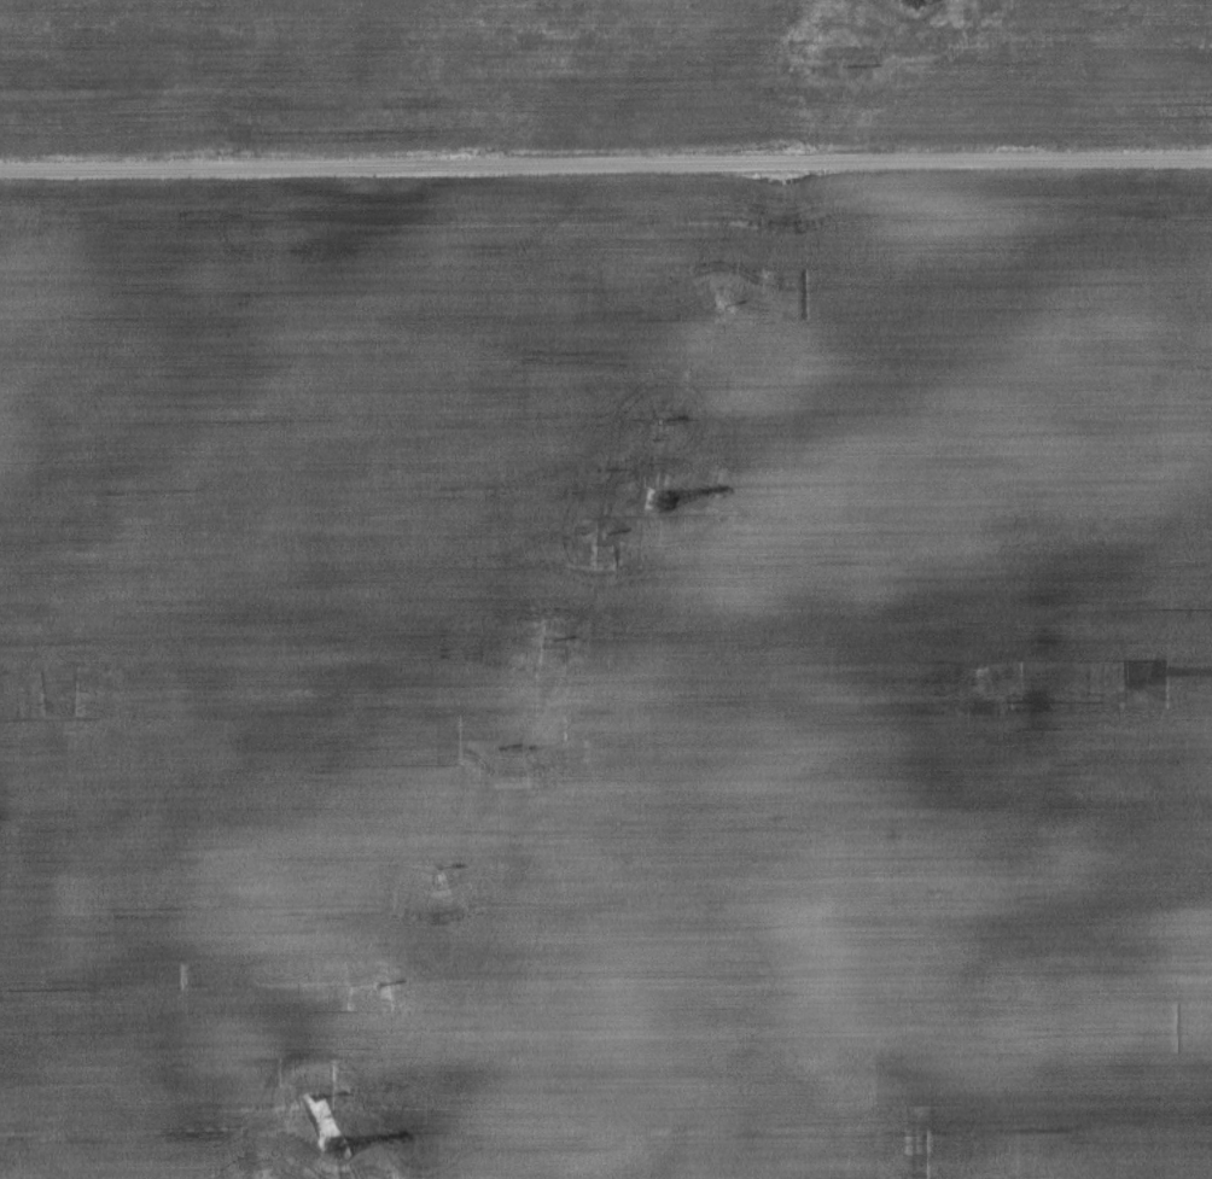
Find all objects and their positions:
road: (605, 157)

